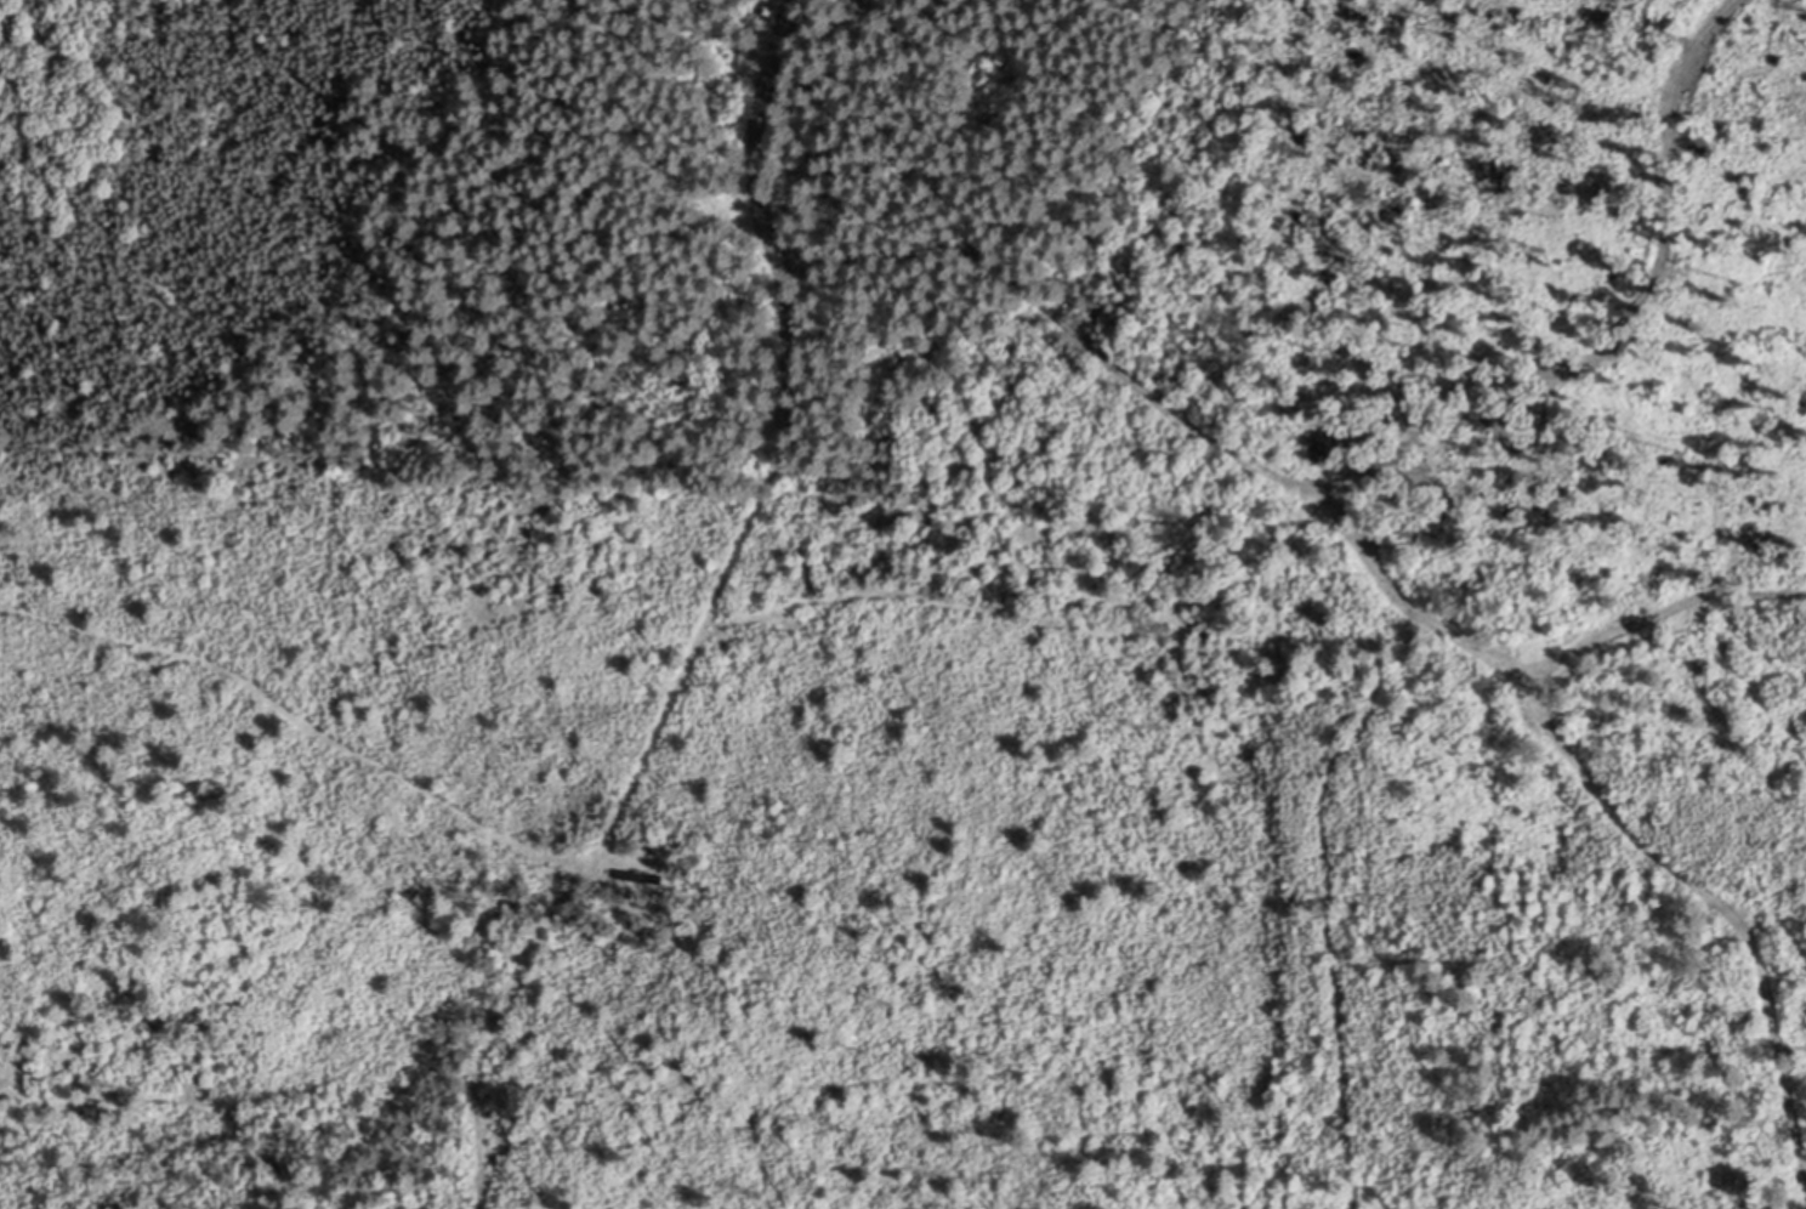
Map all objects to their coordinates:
road: (762, 223)

